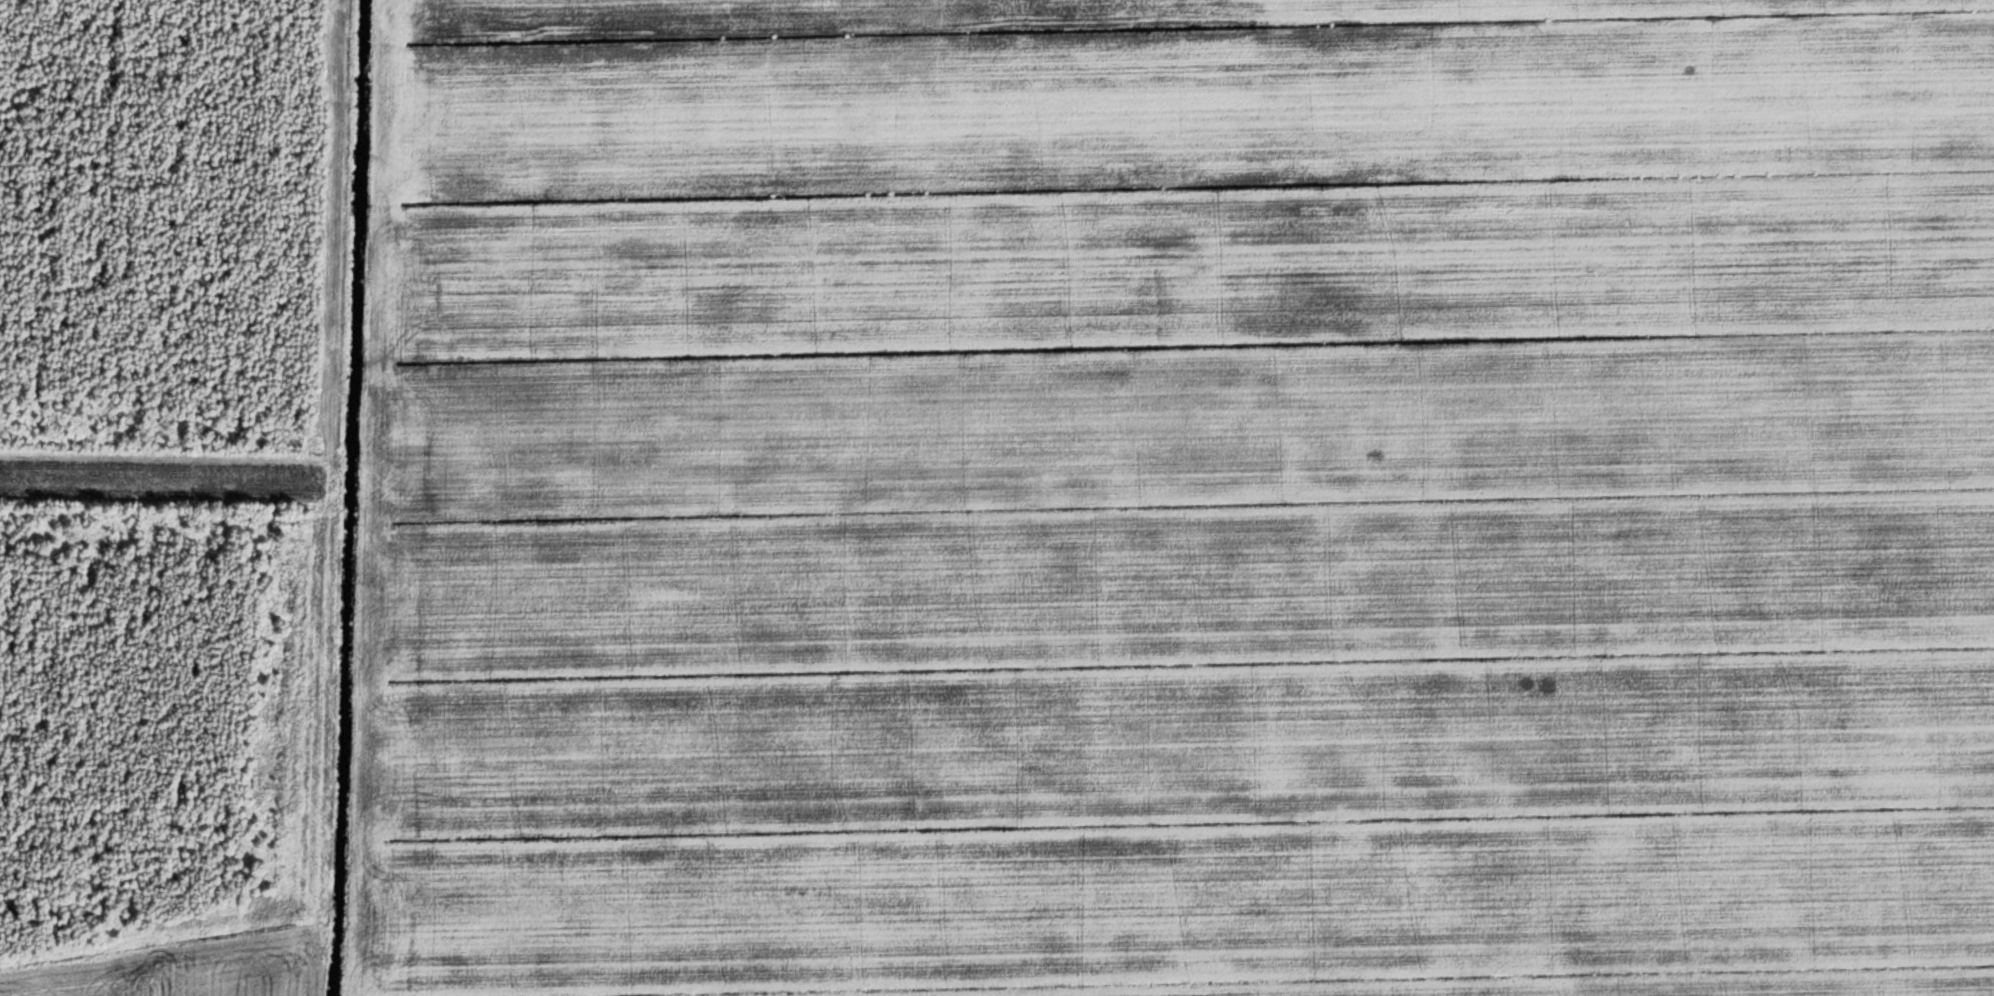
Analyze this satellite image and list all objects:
building: (1335, 542)

